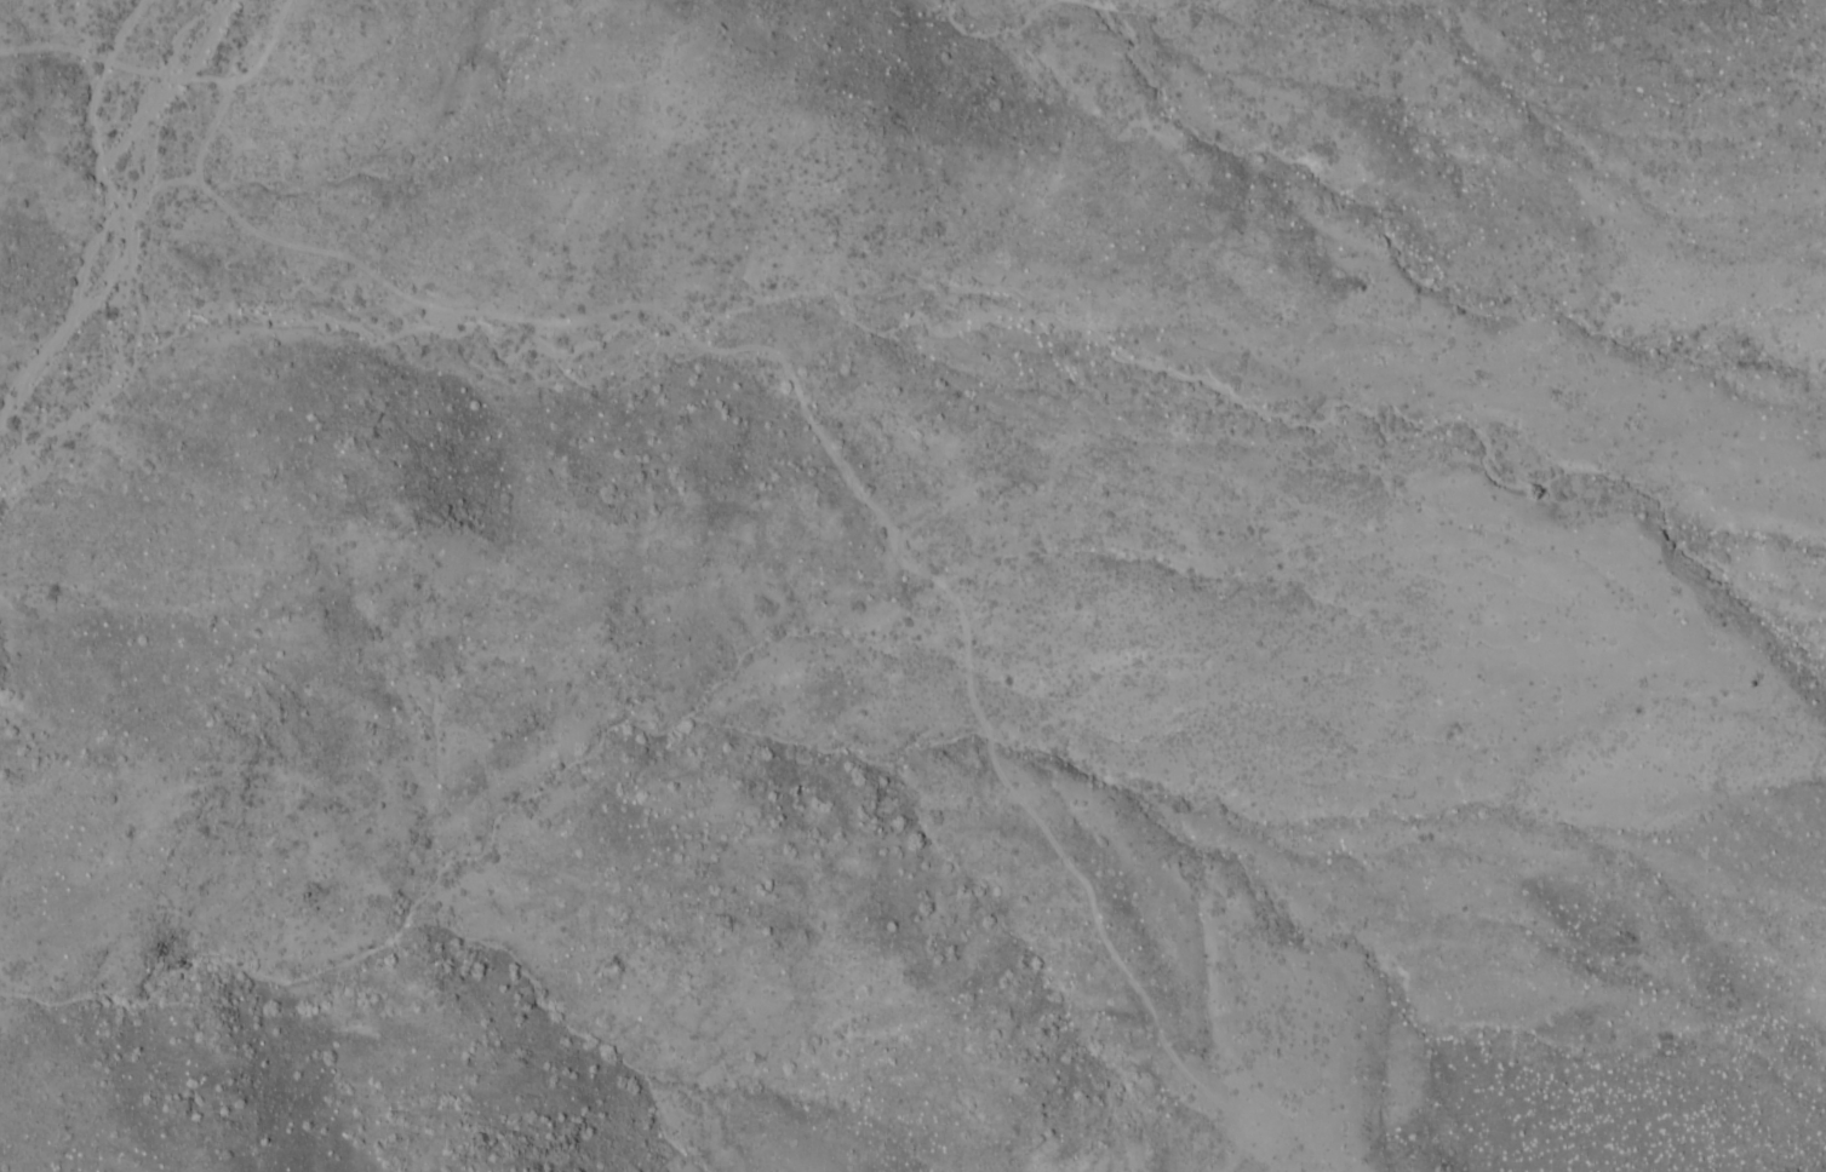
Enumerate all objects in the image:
road: (114, 47)
road: (264, 50)
road: (832, 461)
road: (1294, 507)

